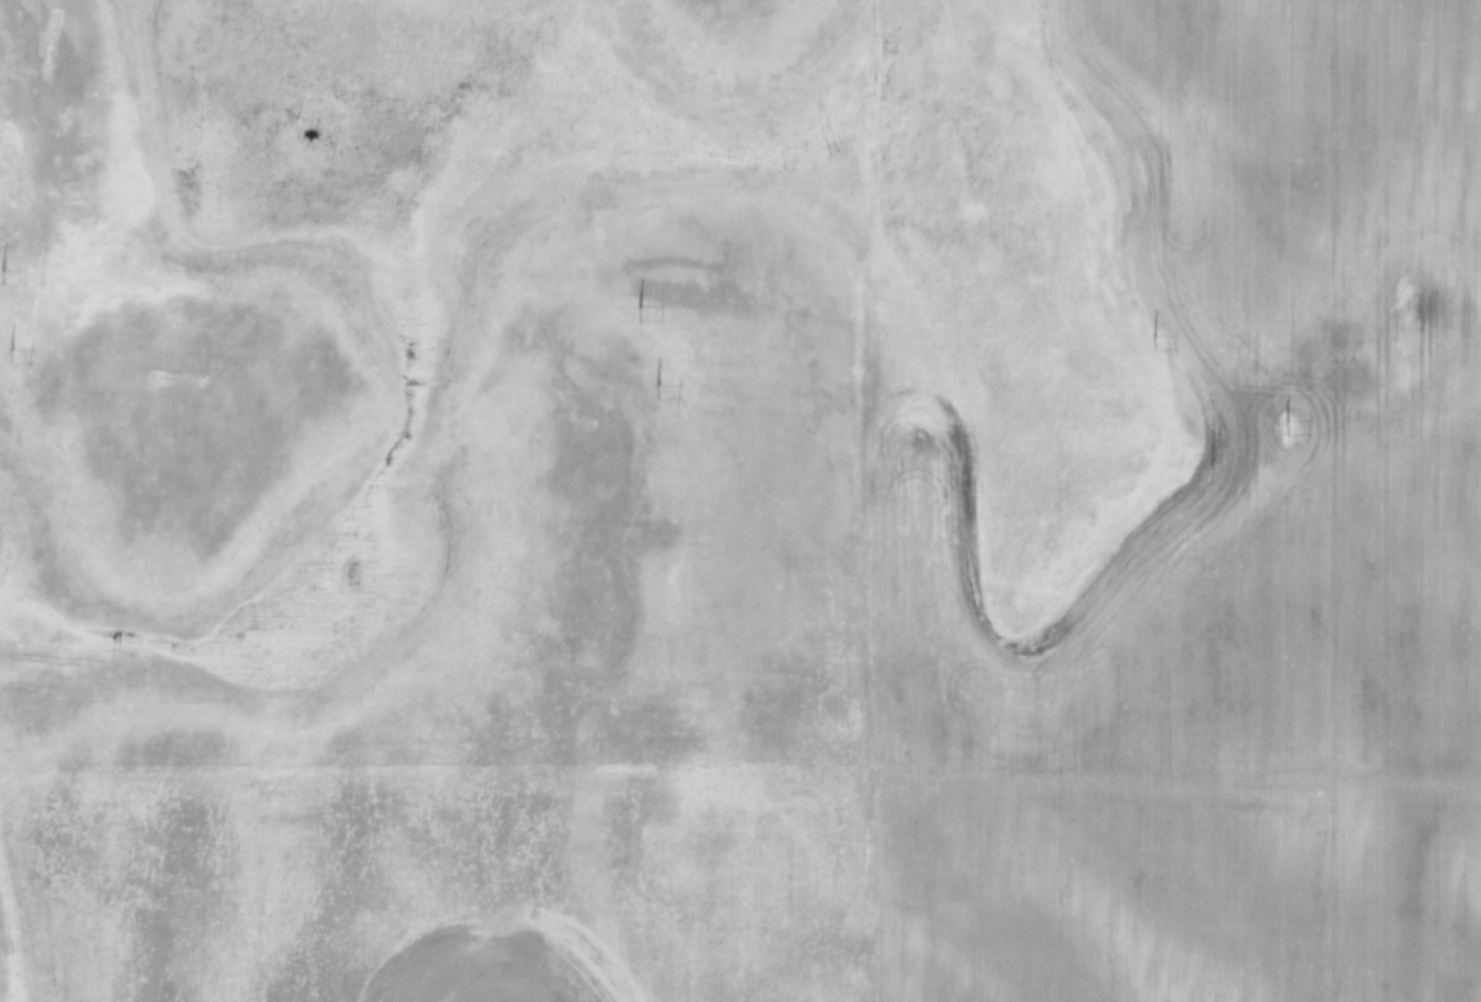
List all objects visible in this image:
power tower: (10, 355)
power tower: (656, 392)
power tower: (1285, 426)
road: (877, 501)

